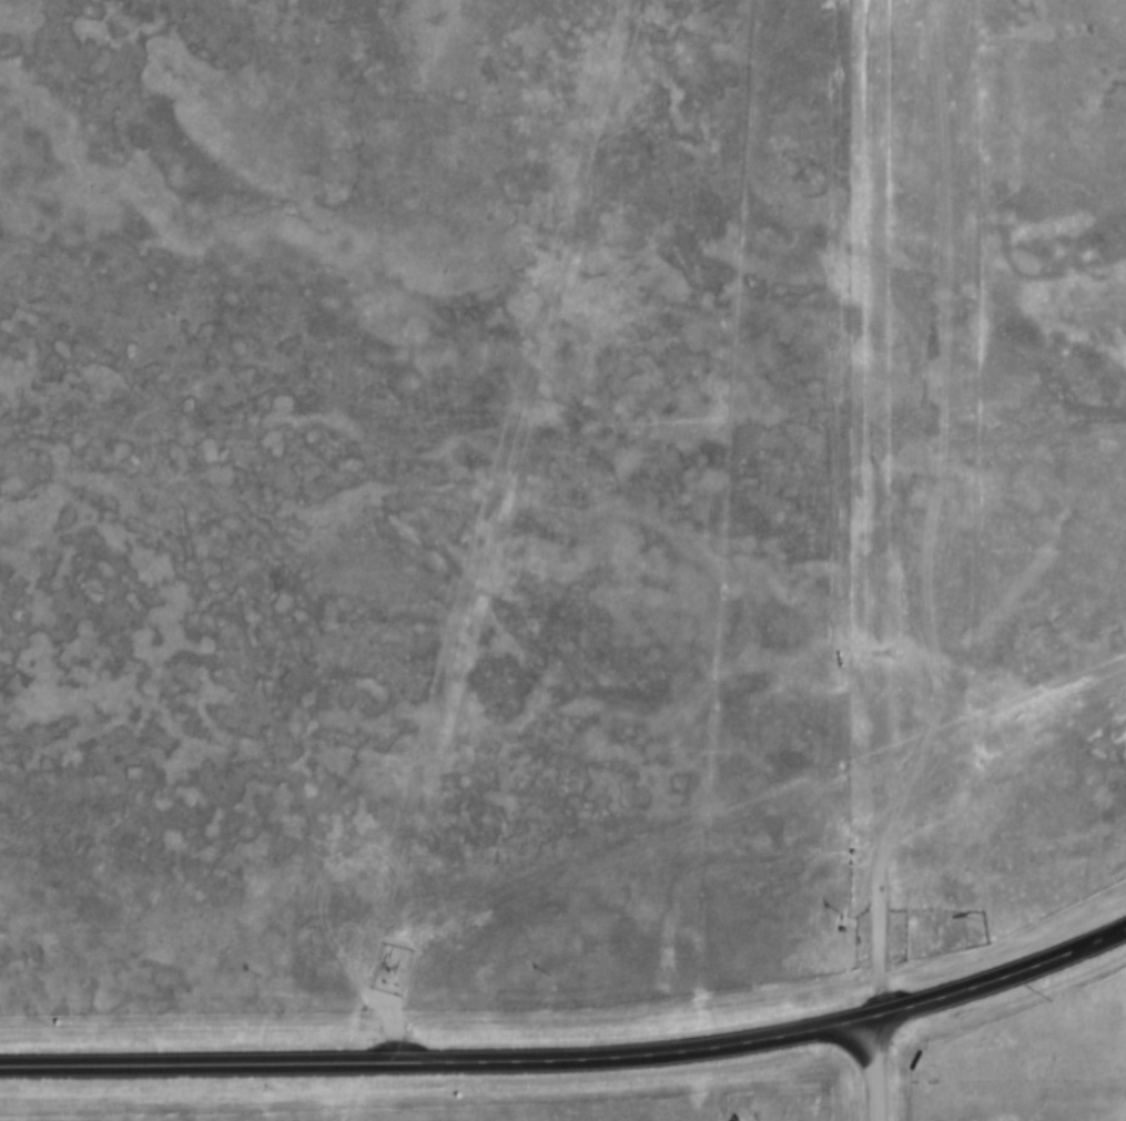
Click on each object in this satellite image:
road: (935, 359)
road: (926, 746)
road: (572, 1064)
road: (876, 1070)

